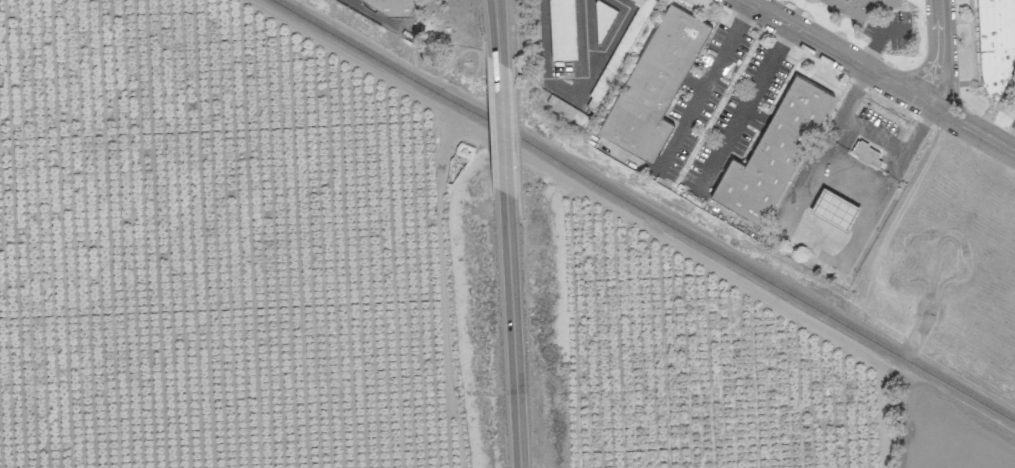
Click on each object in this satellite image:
road: (745, 0)
building: (378, 2)
building: (862, 5)
building: (643, 7)
building: (561, 29)
road: (495, 31)
road: (581, 46)
building: (996, 47)
road: (941, 56)
road: (879, 75)
building: (650, 86)
road: (704, 88)
road: (571, 96)
road: (743, 109)
road: (501, 128)
road: (873, 134)
road: (1012, 143)
building: (772, 152)
building: (865, 153)
building: (834, 208)
railway: (643, 211)
crop: (372, 281)
road: (511, 331)

